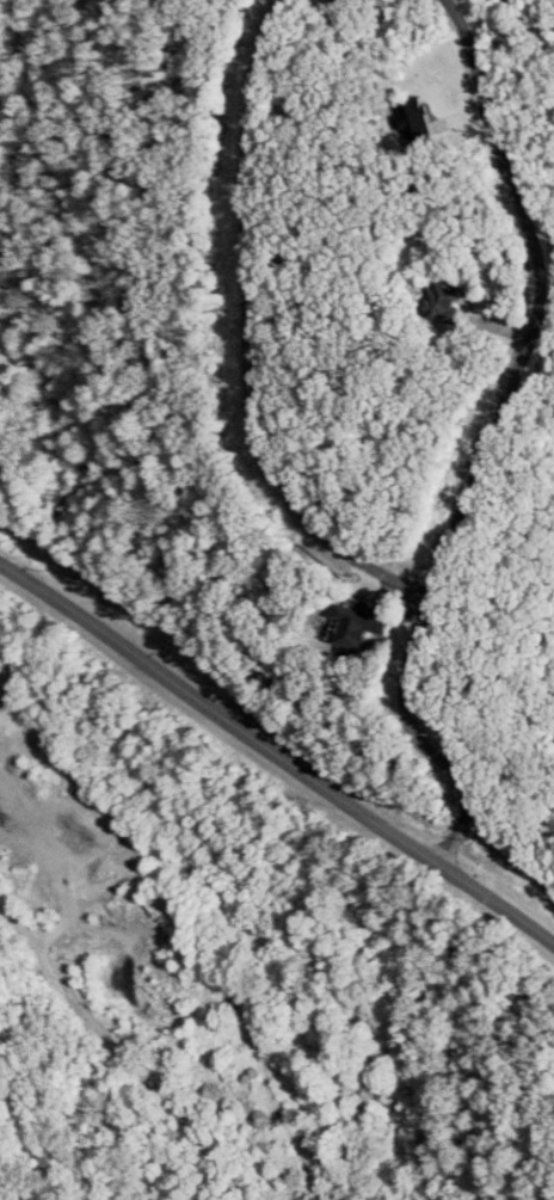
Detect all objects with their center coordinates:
building: (410, 118)
road: (542, 300)
building: (439, 302)
road: (245, 337)
building: (356, 624)
road: (421, 741)
road: (277, 753)
road: (119, 1053)

